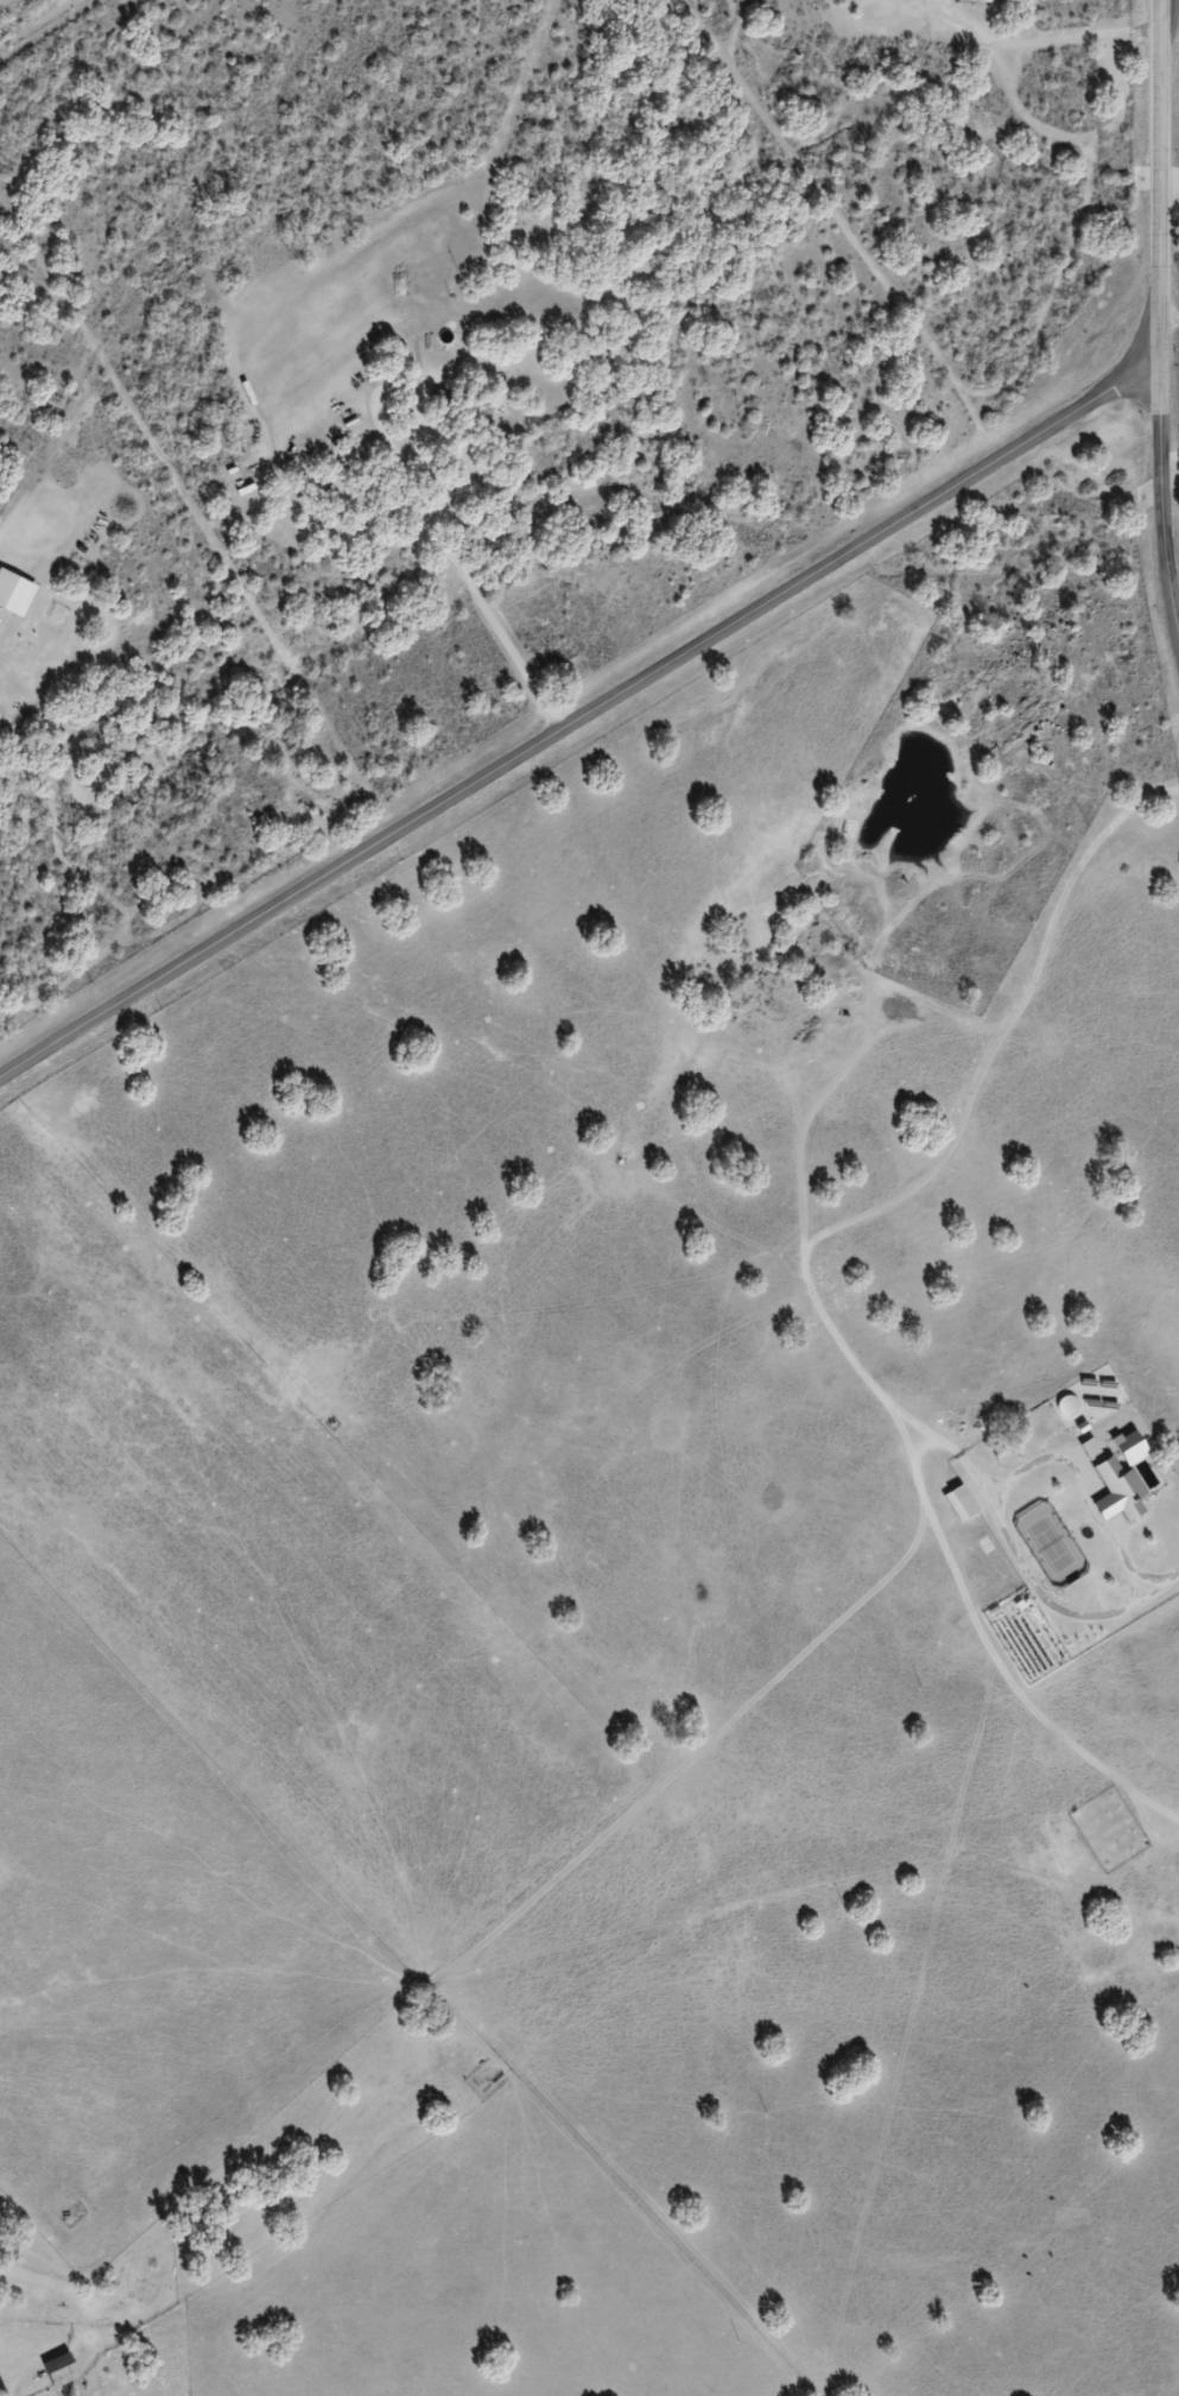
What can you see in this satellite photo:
road: (165, 254)
road: (1160, 315)
road: (579, 719)
building: (1116, 1492)
building: (58, 2373)

